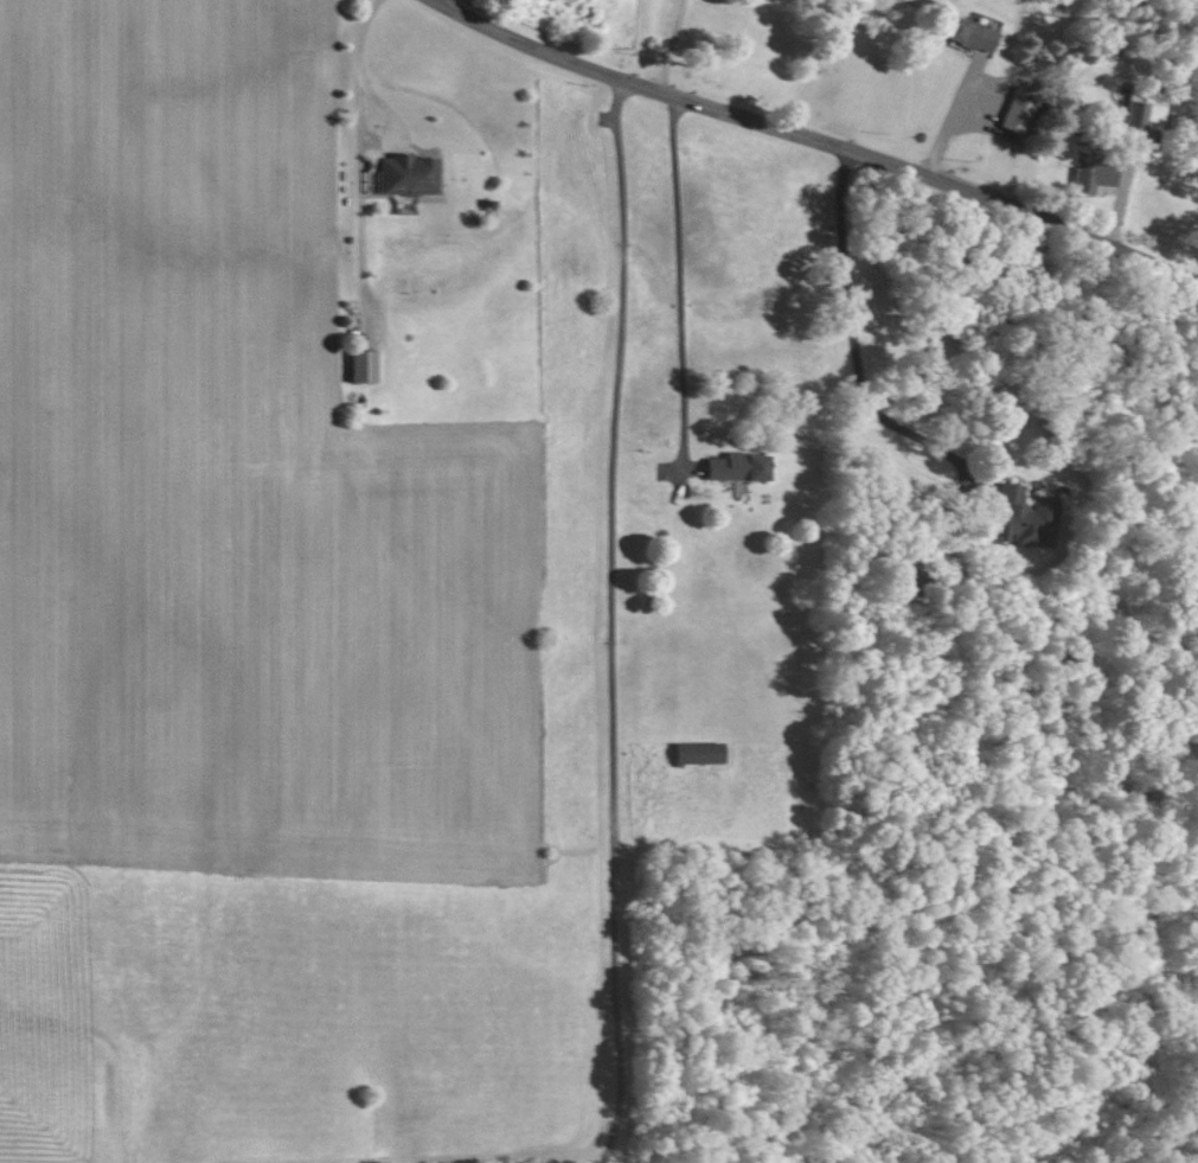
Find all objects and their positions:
road: (440, 0)
road: (359, 32)
building: (963, 33)
road: (667, 44)
building: (1141, 109)
building: (1014, 111)
road: (379, 129)
road: (818, 140)
building: (403, 174)
building: (1090, 175)
road: (679, 275)
road: (851, 338)
building: (358, 366)
building: (733, 467)
building: (1021, 517)
road: (611, 622)
building: (694, 753)

